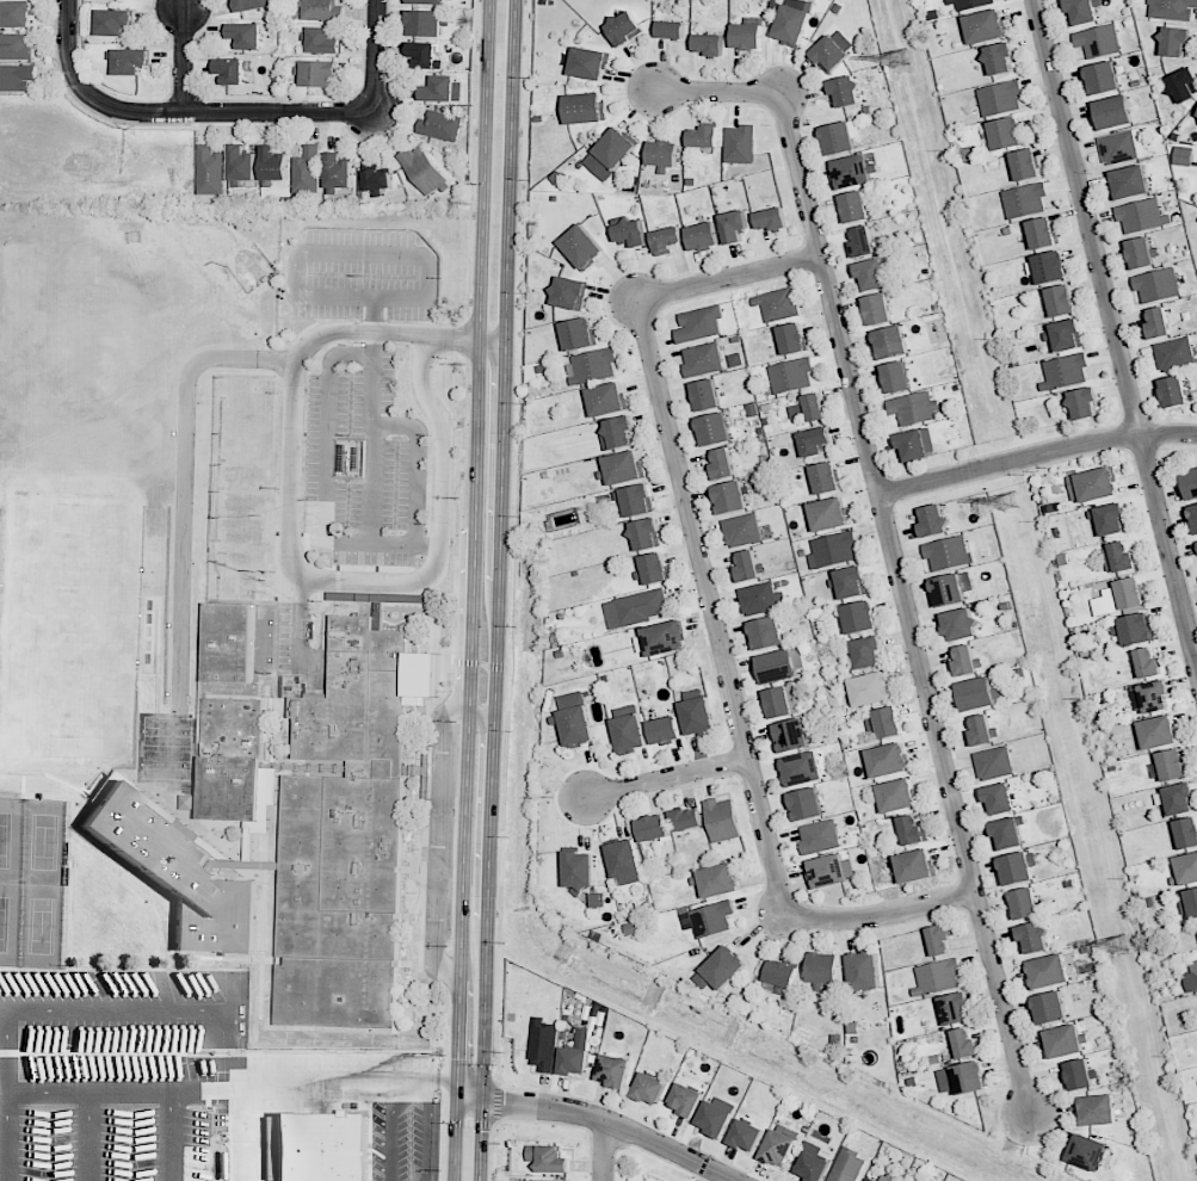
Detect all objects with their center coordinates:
building: (428, 1)
building: (973, 4)
building: (255, 5)
building: (323, 10)
building: (1173, 10)
building: (1085, 11)
building: (17, 14)
building: (933, 14)
building: (116, 21)
building: (427, 21)
building: (794, 24)
building: (673, 26)
building: (627, 27)
building: (988, 27)
building: (248, 35)
building: (749, 36)
building: (326, 41)
building: (1100, 41)
building: (1176, 41)
building: (712, 42)
building: (16, 47)
building: (425, 54)
building: (832, 54)
road: (375, 56)
building: (1002, 58)
road: (181, 60)
power tower: (901, 60)
building: (132, 61)
building: (591, 63)
building: (232, 70)
building: (322, 73)
building: (17, 76)
building: (1105, 78)
building: (1184, 85)
building: (442, 88)
building: (849, 91)
building: (1001, 99)
building: (587, 107)
road: (179, 112)
building: (1115, 113)
building: (1196, 119)
building: (440, 126)
building: (1008, 134)
building: (707, 136)
building: (840, 138)
building: (741, 143)
building: (619, 148)
building: (1121, 148)
building: (667, 154)
building: (1183, 155)
road: (470, 157)
building: (245, 165)
building: (1028, 165)
building: (278, 166)
building: (426, 169)
building: (310, 171)
building: (214, 172)
building: (341, 172)
building: (856, 172)
building: (381, 179)
building: (1131, 184)
building: (1026, 200)
building: (858, 206)
building: (1143, 216)
building: (773, 218)
building: (733, 225)
building: (634, 231)
building: (1045, 234)
building: (707, 236)
building: (667, 240)
building: (864, 242)
building: (585, 246)
building: (1144, 253)
building: (1053, 267)
building: (874, 276)
road: (728, 278)
building: (1159, 284)
building: (572, 291)
building: (1063, 299)
building: (779, 304)
building: (880, 309)
building: (1162, 322)
building: (701, 323)
building: (580, 333)
building: (1070, 335)
road: (1115, 336)
building: (795, 338)
road: (464, 339)
road: (490, 342)
building: (893, 342)
building: (1177, 354)
building: (705, 358)
building: (596, 366)
building: (536, 372)
building: (1066, 372)
building: (794, 375)
building: (899, 377)
building: (248, 388)
building: (1176, 392)
building: (709, 395)
building: (610, 400)
building: (1086, 402)
building: (816, 407)
building: (914, 407)
building: (247, 421)
building: (717, 428)
building: (618, 433)
building: (815, 440)
building: (914, 445)
building: (246, 450)
road: (1037, 458)
building: (723, 465)
building: (624, 468)
building: (246, 477)
building: (828, 478)
building: (1192, 483)
building: (1096, 484)
road: (185, 491)
building: (733, 497)
building: (637, 500)
building: (243, 502)
power tower: (1011, 505)
road: (453, 513)
building: (1195, 513)
building: (831, 514)
building: (1111, 518)
building: (936, 523)
building: (243, 531)
building: (744, 531)
building: (647, 533)
road: (474, 539)
road: (499, 539)
building: (1196, 540)
road: (890, 544)
building: (837, 550)
building: (949, 552)
building: (1125, 557)
road: (291, 565)
building: (748, 567)
building: (654, 568)
building: (853, 581)
building: (246, 583)
building: (950, 589)
road: (512, 590)
building: (1131, 593)
building: (759, 600)
road: (709, 606)
building: (643, 607)
building: (862, 618)
building: (962, 624)
building: (1135, 629)
building: (769, 633)
building: (666, 638)
building: (870, 653)
road: (462, 662)
building: (968, 662)
building: (1148, 663)
building: (779, 666)
road: (489, 667)
building: (230, 684)
building: (874, 690)
building: (980, 694)
building: (1156, 695)
building: (782, 704)
road: (482, 716)
building: (701, 716)
building: (890, 723)
building: (579, 728)
building: (668, 730)
building: (985, 730)
park: (165, 731)
building: (1160, 732)
building: (631, 735)
building: (795, 735)
building: (890, 760)
park: (165, 763)
building: (995, 763)
building: (1173, 765)
building: (806, 769)
road: (666, 778)
building: (230, 789)
building: (900, 796)
building: (1001, 799)
building: (1181, 799)
building: (187, 802)
building: (809, 804)
building: (687, 820)
building: (723, 821)
building: (656, 829)
building: (348, 830)
building: (915, 830)
building: (1187, 833)
building: (1010, 834)
building: (820, 836)
park: (12, 839)
park: (43, 840)
building: (628, 859)
building: (918, 866)
building: (1018, 867)
building: (1187, 870)
building: (581, 872)
building: (833, 872)
building: (179, 874)
building: (720, 880)
building: (1189, 902)
building: (1028, 903)
road: (880, 915)
park: (11, 920)
building: (715, 920)
park: (42, 922)
building: (1036, 936)
building: (942, 940)
power tower: (1124, 942)
building: (727, 967)
building: (826, 969)
building: (866, 972)
building: (1050, 972)
building: (1195, 972)
building: (784, 975)
building: (938, 977)
road: (165, 1008)
building: (956, 1009)
building: (1051, 1009)
building: (1067, 1041)
building: (967, 1045)
building: (543, 1047)
building: (574, 1062)
building: (616, 1070)
building: (1082, 1075)
building: (971, 1078)
traffic signals: (457, 1080)
road: (470, 1080)
road: (307, 1081)
building: (652, 1088)
road: (469, 1090)
road: (482, 1090)
traffic signals: (482, 1101)
building: (690, 1101)
building: (1100, 1111)
building: (717, 1119)
road: (468, 1123)
road: (611, 1125)
road: (455, 1130)
building: (748, 1134)
road: (7, 1136)
road: (480, 1140)
building: (317, 1148)
building: (782, 1148)
road: (439, 1151)
road: (603, 1151)
building: (1091, 1154)
building: (550, 1160)
building: (849, 1165)
building: (814, 1168)
building: (888, 1177)
building: (550, 1180)
building: (871, 1180)
building: (875, 1180)

